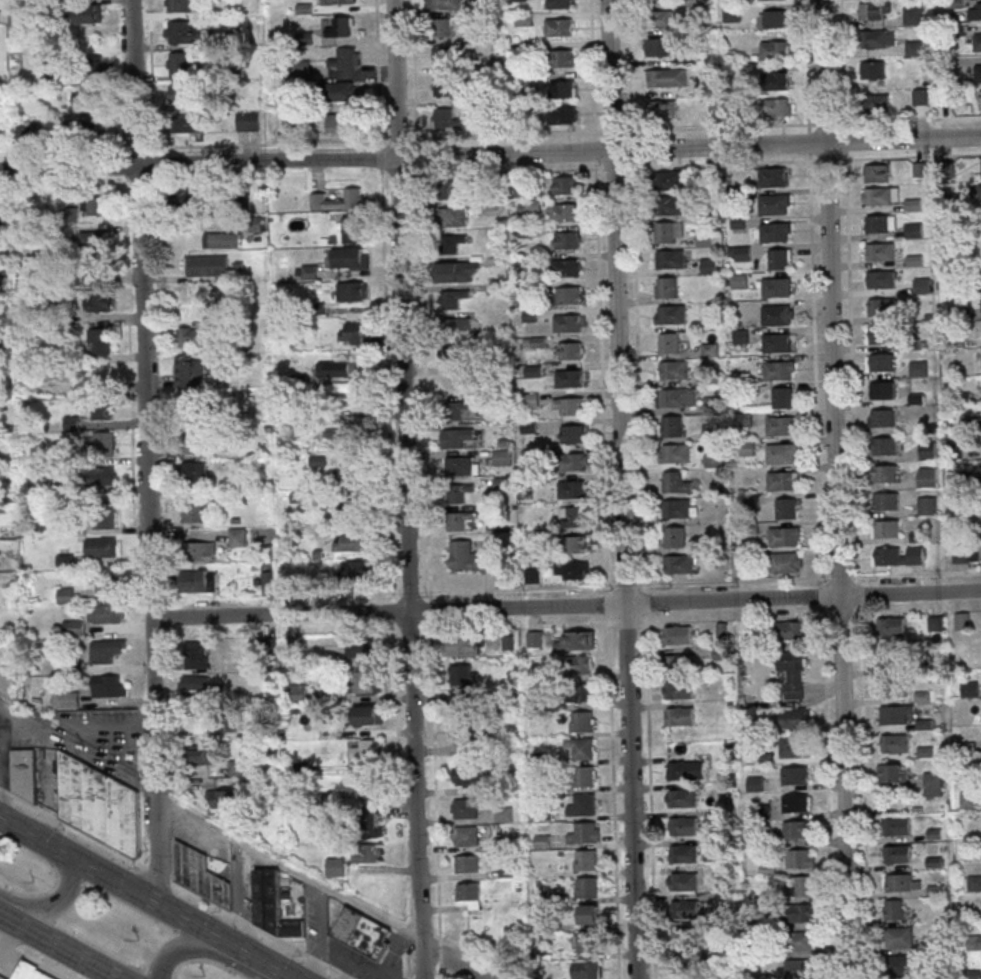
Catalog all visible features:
building: (518, 0)
building: (657, 0)
building: (772, 0)
building: (338, 1)
building: (177, 4)
building: (445, 4)
building: (560, 4)
building: (873, 10)
building: (975, 11)
building: (732, 13)
building: (88, 15)
building: (913, 15)
building: (774, 18)
building: (665, 19)
building: (560, 26)
building: (341, 27)
building: (443, 27)
building: (183, 32)
building: (870, 39)
building: (976, 42)
building: (658, 46)
building: (914, 47)
building: (775, 49)
building: (442, 55)
building: (562, 57)
building: (345, 59)
building: (180, 62)
building: (93, 65)
road: (589, 65)
building: (872, 69)
road: (822, 70)
building: (976, 72)
road: (609, 74)
building: (666, 78)
building: (776, 81)
building: (443, 86)
building: (564, 89)
building: (341, 91)
building: (179, 93)
building: (920, 96)
building: (980, 99)
building: (878, 104)
building: (88, 107)
building: (777, 107)
building: (663, 108)
building: (563, 114)
building: (448, 118)
building: (248, 121)
building: (189, 123)
building: (336, 123)
road: (804, 123)
building: (21, 136)
road: (371, 139)
road: (490, 154)
road: (610, 167)
building: (920, 169)
building: (876, 173)
building: (771, 176)
building: (666, 179)
building: (565, 185)
building: (451, 190)
building: (980, 192)
building: (240, 195)
building: (878, 195)
building: (187, 199)
building: (338, 200)
building: (668, 204)
building: (773, 204)
building: (3, 205)
building: (93, 206)
building: (564, 211)
building: (453, 216)
building: (880, 224)
building: (352, 229)
building: (773, 230)
building: (913, 230)
building: (670, 232)
building: (93, 240)
building: (221, 240)
building: (567, 240)
building: (452, 243)
building: (879, 251)
building: (740, 253)
building: (349, 257)
building: (669, 258)
building: (780, 259)
building: (206, 265)
building: (709, 265)
building: (566, 267)
building: (459, 271)
building: (879, 278)
building: (739, 281)
building: (922, 285)
building: (777, 286)
building: (667, 287)
building: (352, 291)
building: (570, 295)
building: (451, 298)
building: (98, 302)
building: (881, 306)
road: (634, 310)
building: (670, 312)
building: (777, 314)
building: (567, 323)
building: (456, 326)
building: (351, 332)
building: (879, 334)
building: (189, 336)
road: (597, 339)
building: (99, 341)
building: (535, 342)
building: (669, 343)
building: (777, 343)
building: (570, 350)
building: (452, 355)
building: (880, 362)
building: (672, 368)
building: (337, 369)
building: (776, 369)
building: (918, 369)
building: (188, 371)
building: (569, 378)
building: (454, 382)
road: (421, 383)
building: (883, 389)
building: (671, 397)
building: (783, 397)
building: (529, 399)
building: (189, 401)
building: (712, 403)
building: (568, 405)
building: (103, 409)
building: (457, 409)
building: (881, 417)
building: (778, 424)
building: (670, 426)
building: (573, 433)
building: (341, 437)
building: (456, 437)
road: (815, 438)
building: (191, 440)
building: (103, 444)
building: (882, 445)
building: (927, 450)
building: (674, 452)
building: (778, 452)
road: (145, 453)
building: (501, 456)
building: (713, 459)
building: (575, 461)
building: (465, 466)
building: (193, 471)
building: (882, 472)
building: (347, 473)
building: (105, 476)
building: (927, 477)
building: (779, 480)
building: (674, 482)
road: (405, 489)
building: (572, 489)
building: (458, 491)
building: (883, 500)
building: (927, 505)
building: (676, 508)
building: (786, 508)
building: (192, 510)
building: (106, 515)
building: (573, 516)
building: (459, 520)
building: (884, 528)
building: (784, 536)
building: (237, 537)
building: (676, 537)
building: (352, 542)
building: (577, 544)
building: (100, 546)
building: (201, 550)
building: (965, 552)
building: (886, 555)
building: (469, 556)
road: (837, 559)
building: (65, 561)
building: (786, 562)
road: (623, 564)
building: (679, 564)
road: (854, 567)
building: (358, 569)
building: (573, 570)
building: (198, 580)
building: (105, 583)
road: (565, 606)
building: (107, 613)
road: (427, 617)
building: (962, 621)
building: (891, 626)
building: (790, 630)
building: (674, 634)
building: (535, 639)
building: (577, 642)
building: (462, 647)
building: (360, 649)
building: (106, 650)
building: (196, 655)
building: (889, 660)
building: (676, 662)
building: (579, 665)
building: (793, 672)
building: (366, 681)
building: (195, 682)
building: (463, 682)
building: (109, 686)
building: (889, 687)
building: (677, 689)
building: (582, 692)
building: (298, 693)
building: (66, 699)
building: (368, 715)
building: (678, 715)
building: (891, 715)
building: (796, 718)
building: (582, 721)
building: (226, 723)
road: (97, 727)
building: (460, 729)
parking lot: (98, 732)
building: (891, 743)
building: (794, 747)
building: (584, 748)
building: (366, 750)
building: (202, 754)
building: (679, 770)
building: (24, 773)
building: (891, 773)
building: (466, 775)
building: (795, 775)
building: (585, 776)
road: (432, 781)
building: (932, 783)
building: (680, 797)
building: (223, 798)
building: (794, 802)
building: (98, 803)
building: (583, 805)
building: (465, 808)
building: (504, 815)
road: (169, 820)
road: (209, 824)
building: (373, 825)
building: (681, 825)
building: (895, 825)
road: (72, 826)
building: (794, 828)
building: (586, 833)
building: (466, 835)
building: (542, 842)
building: (367, 853)
building: (682, 853)
building: (896, 853)
building: (800, 858)
road: (170, 859)
building: (586, 860)
building: (467, 863)
building: (335, 866)
road: (155, 872)
building: (200, 875)
building: (682, 881)
building: (897, 881)
building: (974, 883)
building: (586, 887)
building: (800, 887)
building: (470, 893)
road: (198, 896)
road: (144, 898)
building: (725, 900)
road: (52, 902)
building: (272, 906)
building: (683, 908)
building: (892, 909)
building: (796, 912)
building: (589, 914)
road: (242, 920)
building: (362, 932)
building: (684, 936)
building: (900, 938)
road: (278, 940)
road: (436, 941)
building: (802, 941)
building: (586, 942)
road: (59, 946)
road: (204, 950)
road: (464, 956)
road: (313, 959)
road: (32, 961)
road: (437, 962)
building: (684, 964)
building: (898, 965)
building: (799, 968)
building: (587, 970)
road: (337, 971)
building: (29, 973)

